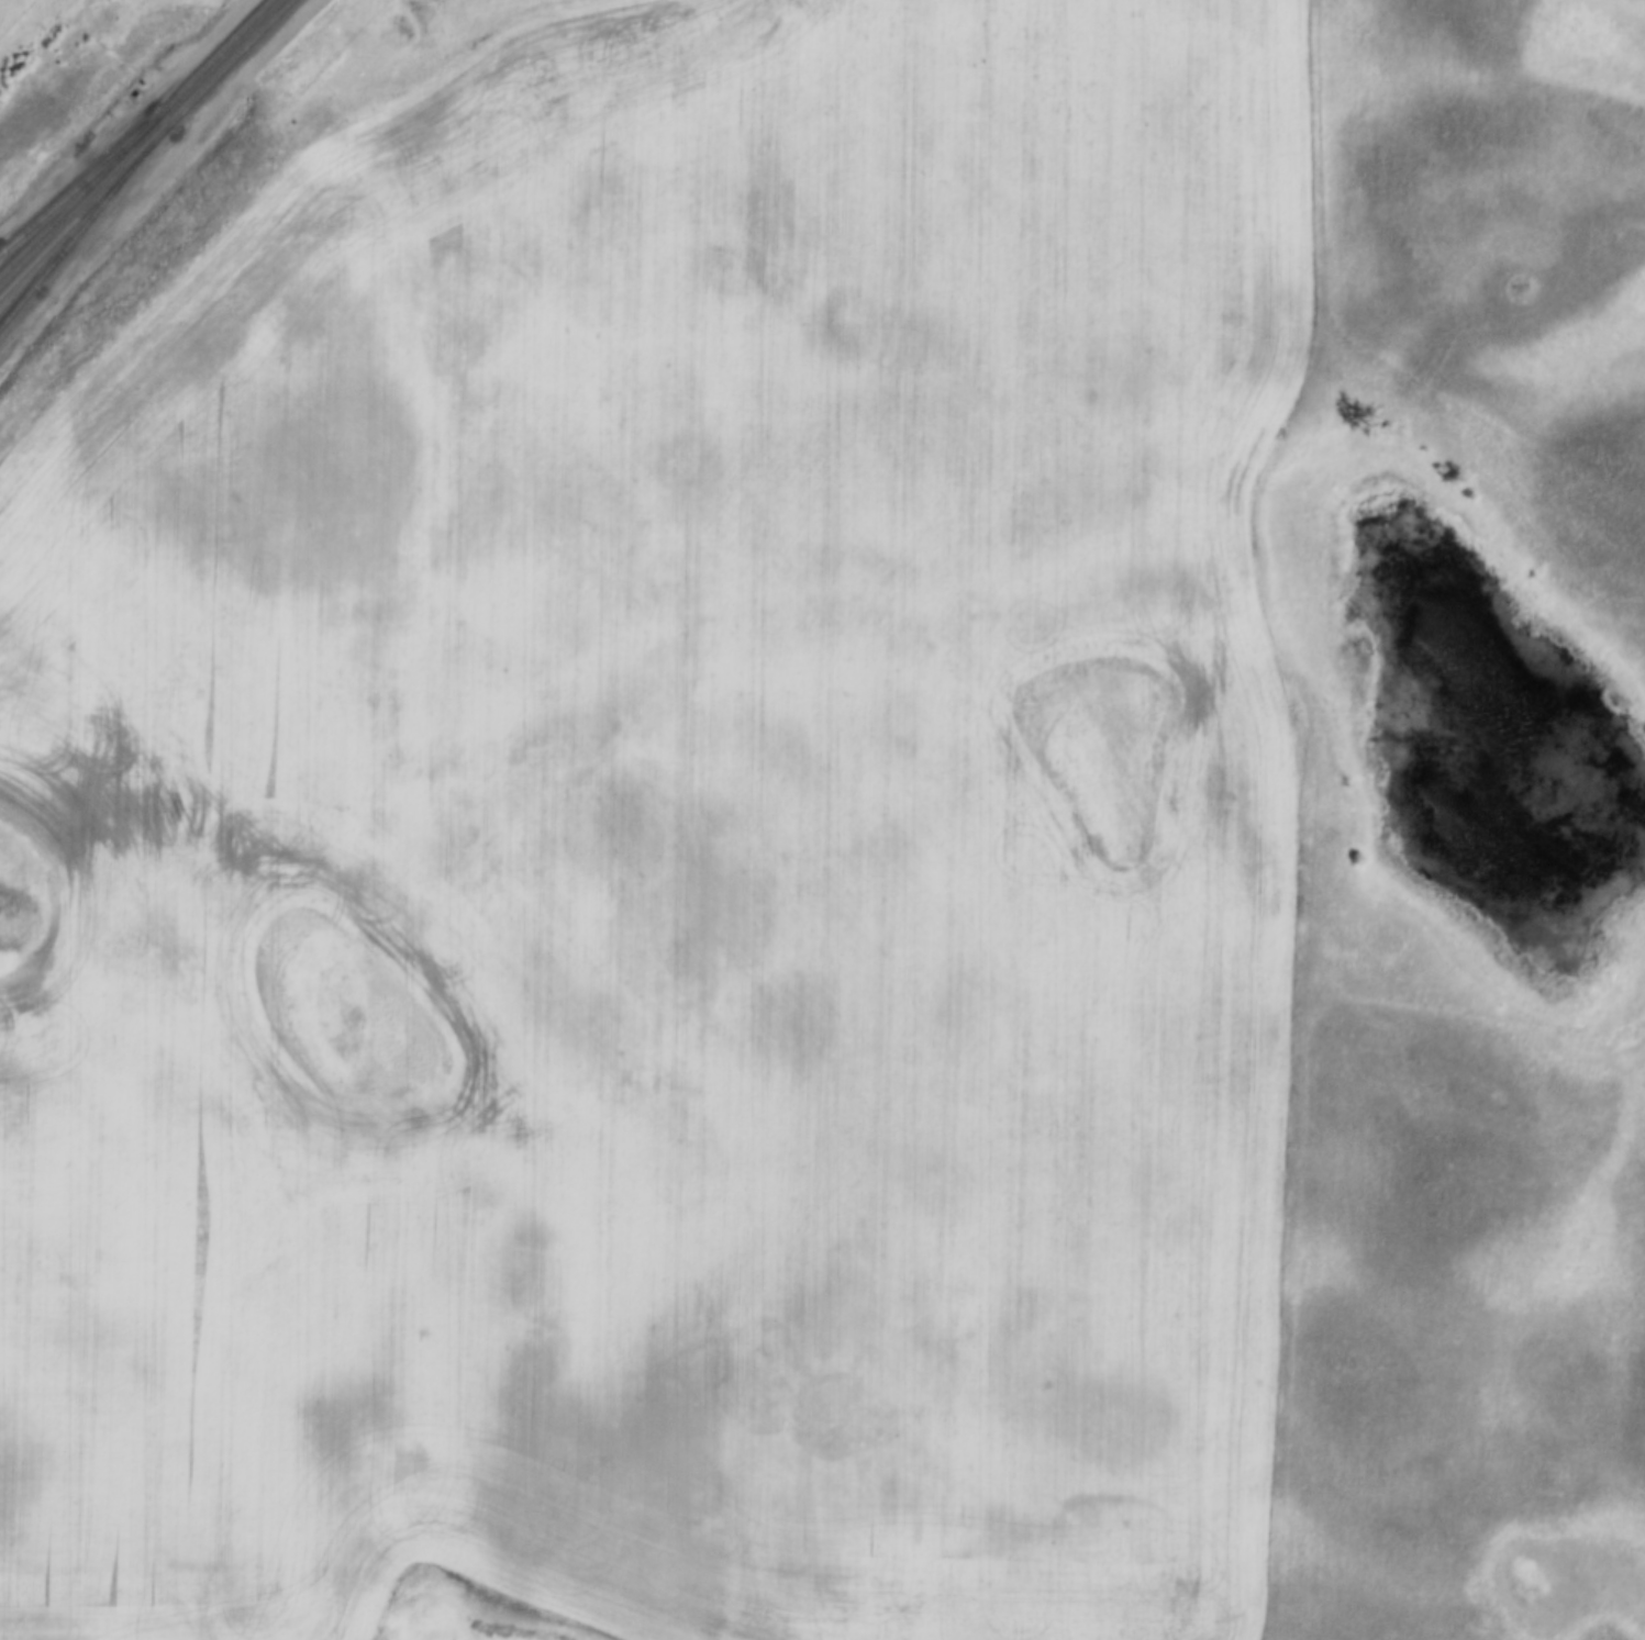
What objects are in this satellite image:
road: (673, 18)
railway: (229, 62)
railway: (134, 136)
railway: (78, 183)
railway: (85, 208)
railway: (84, 221)

